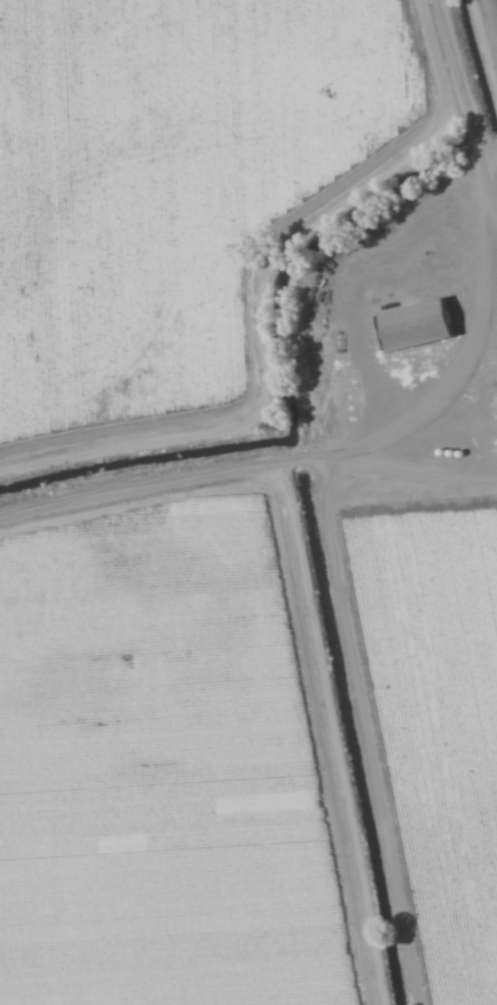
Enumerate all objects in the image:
road: (454, 55)
road: (467, 113)
road: (291, 242)
building: (418, 325)
road: (247, 459)

